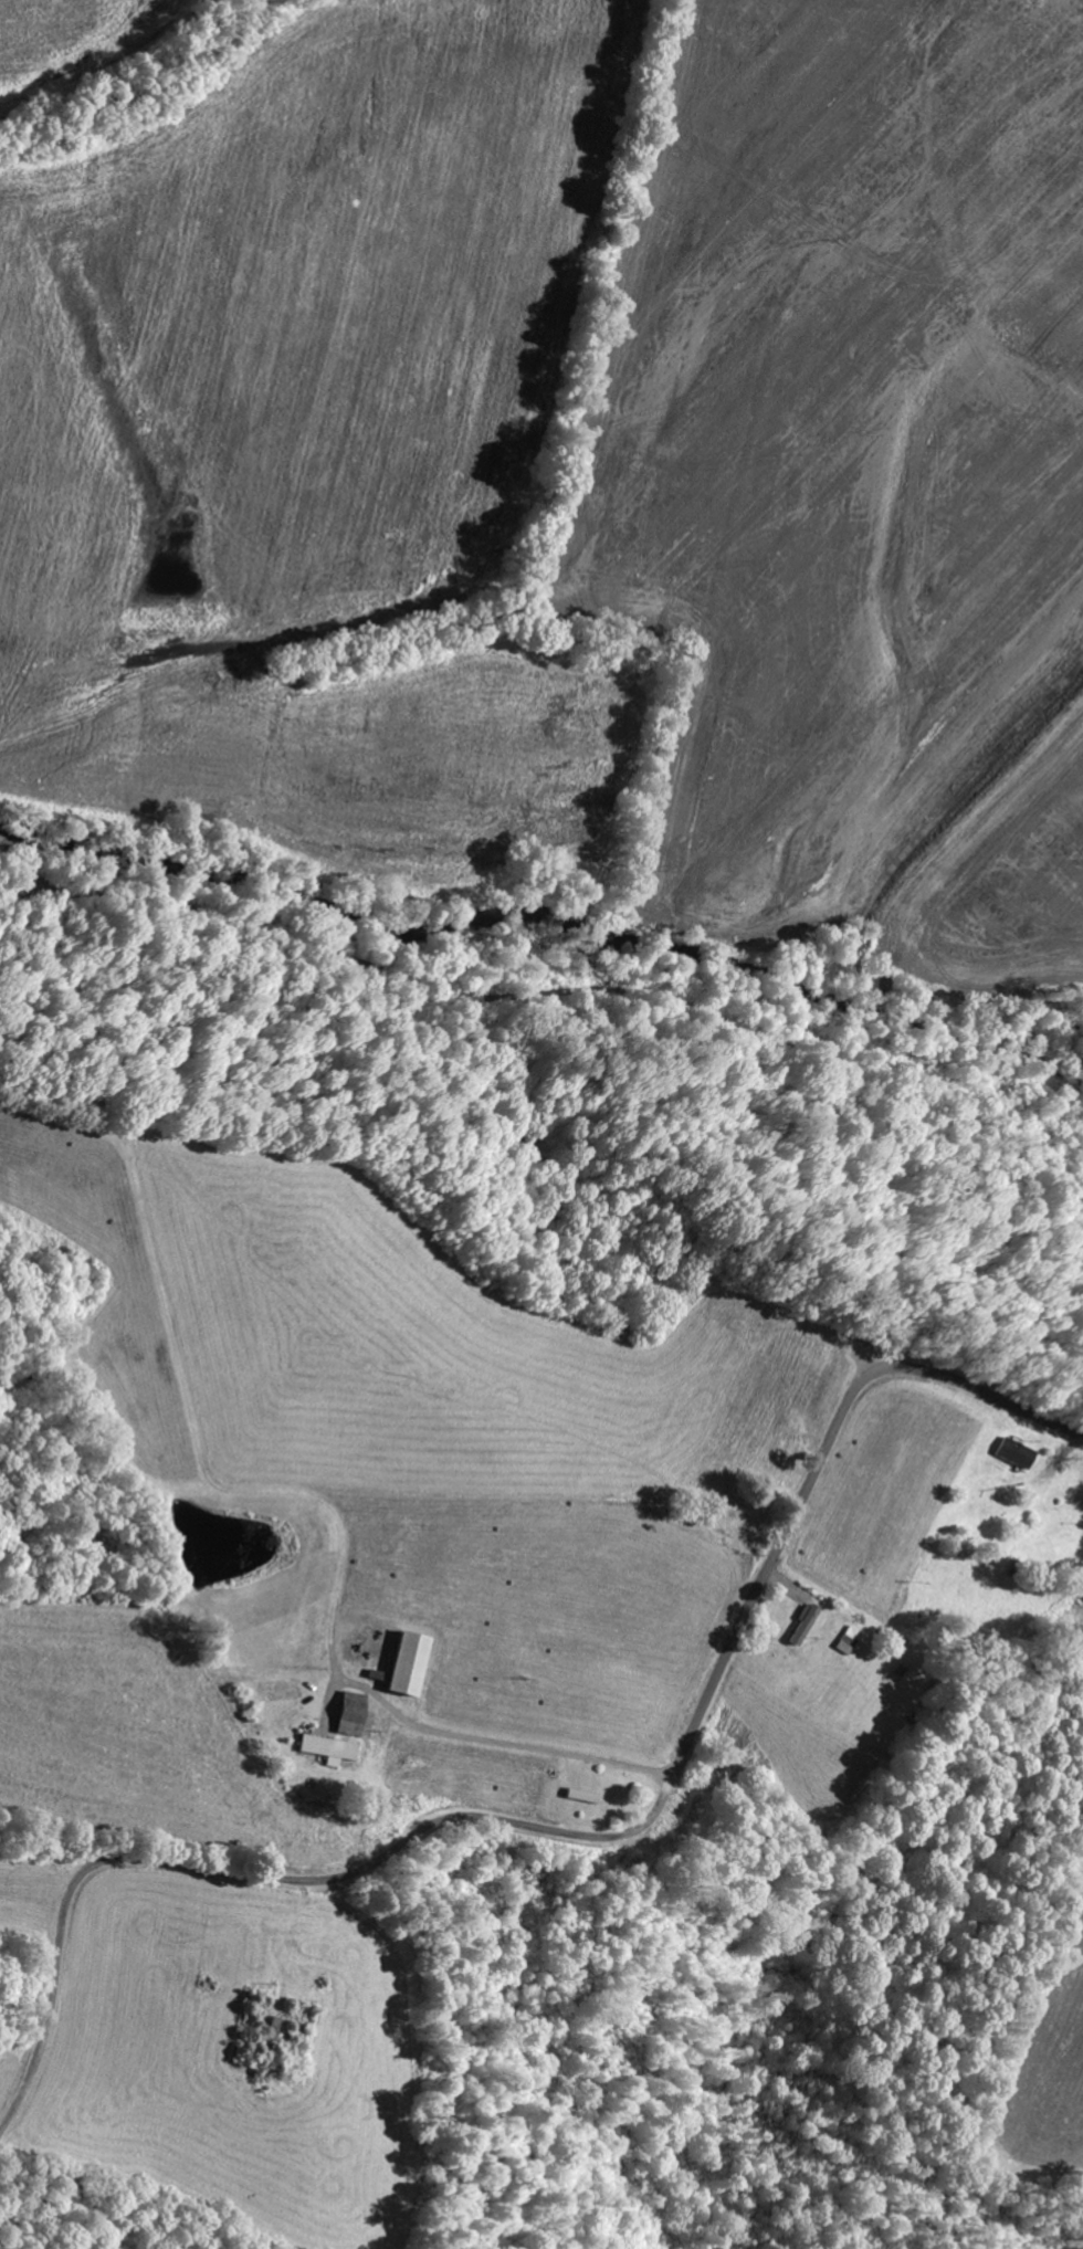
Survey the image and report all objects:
road: (553, 992)
building: (401, 1663)
building: (324, 1749)
road: (109, 1762)
road: (580, 1837)

